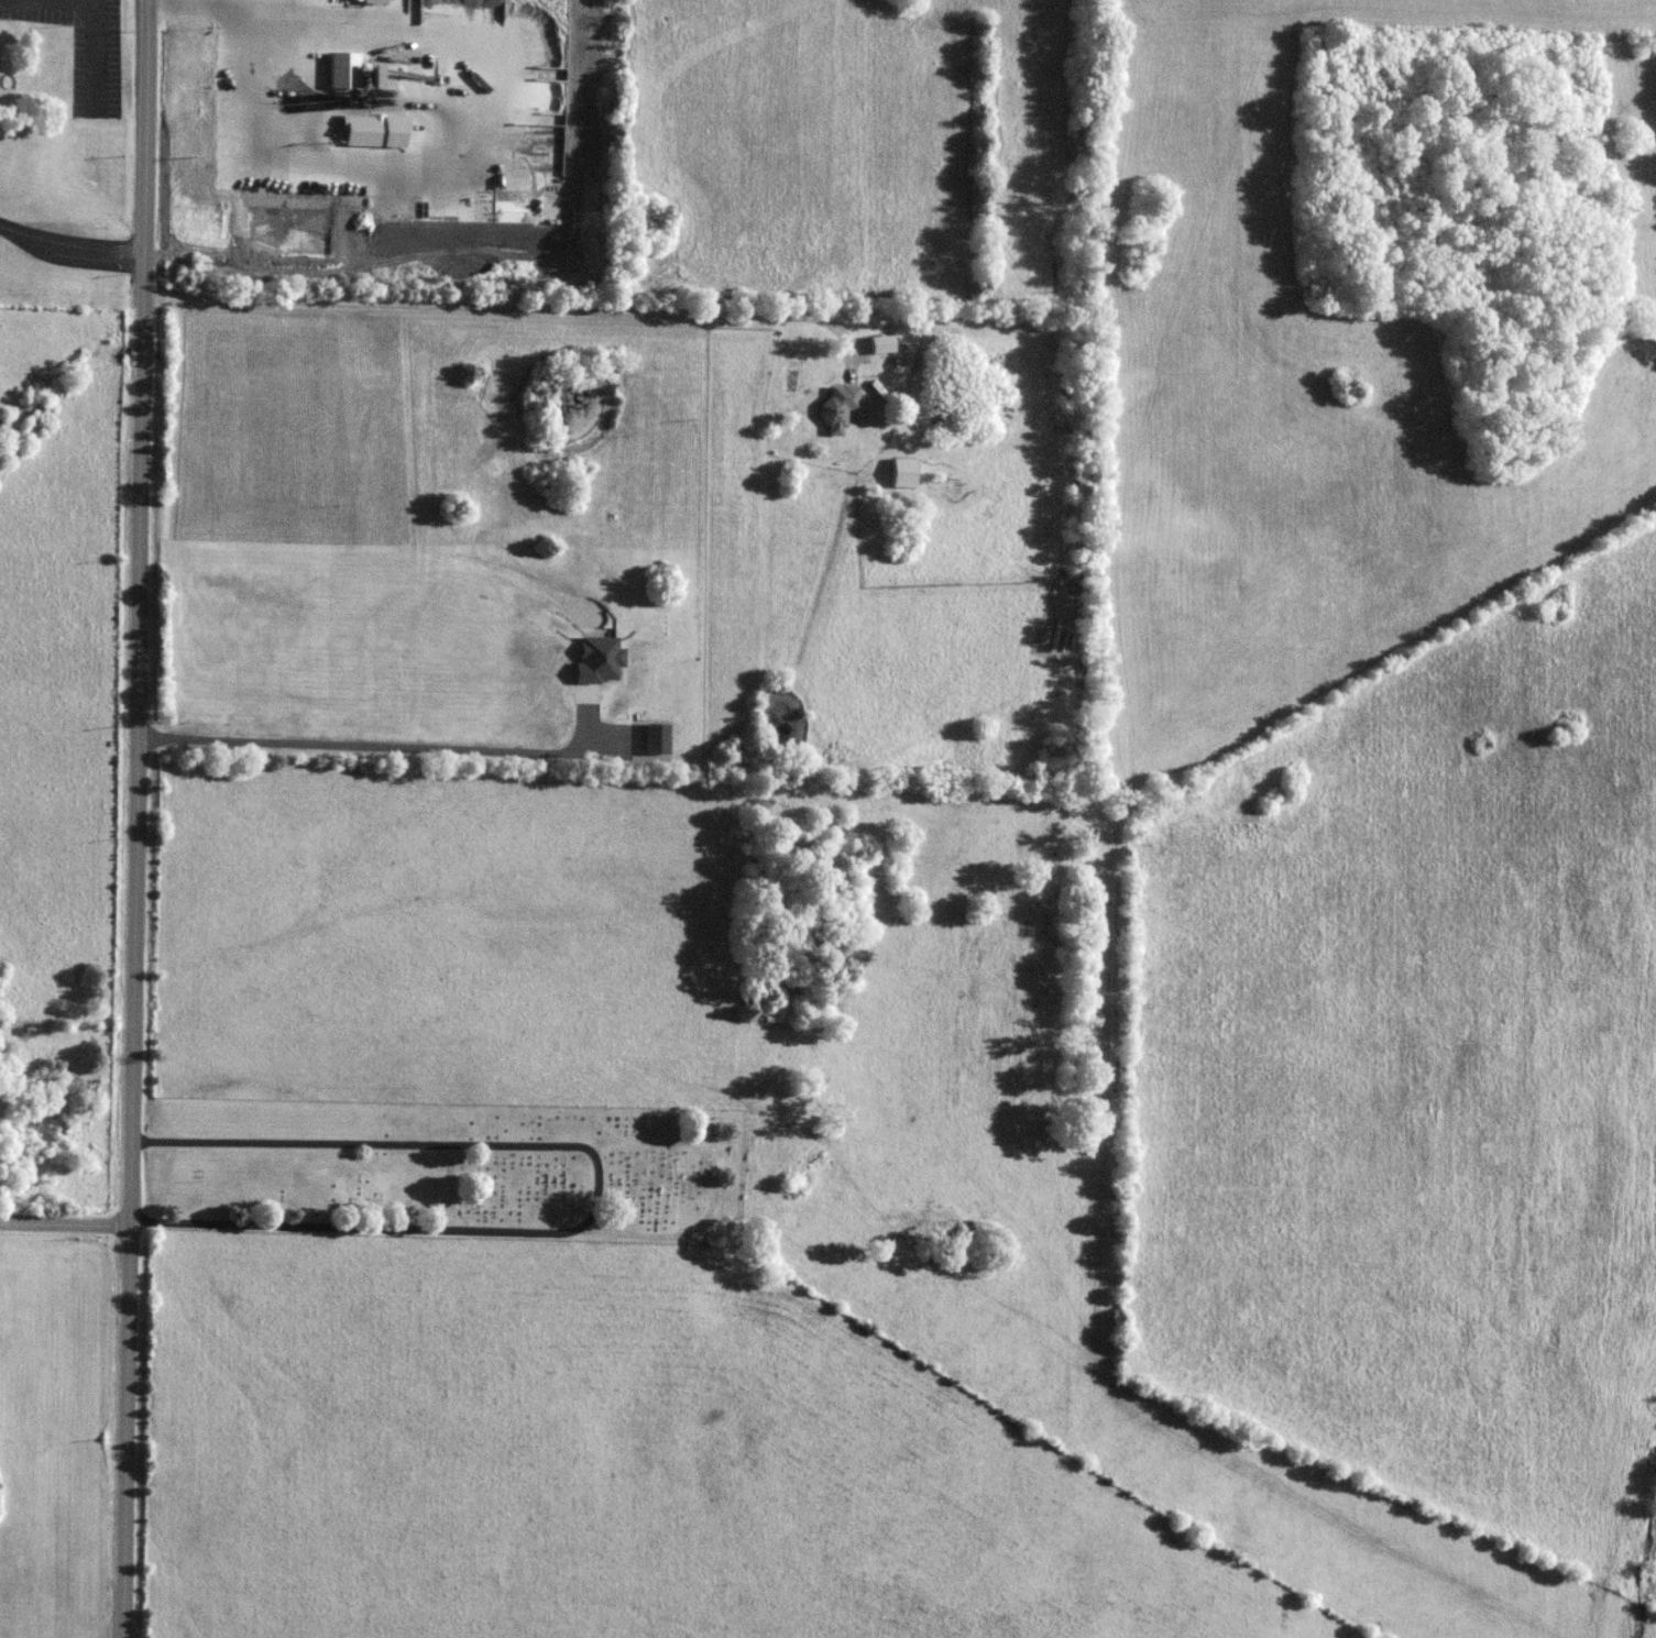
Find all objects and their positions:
road: (69, 246)
road: (481, 295)
building: (840, 408)
building: (901, 471)
road: (372, 744)
road: (135, 818)
park: (446, 1170)
road: (64, 1223)

